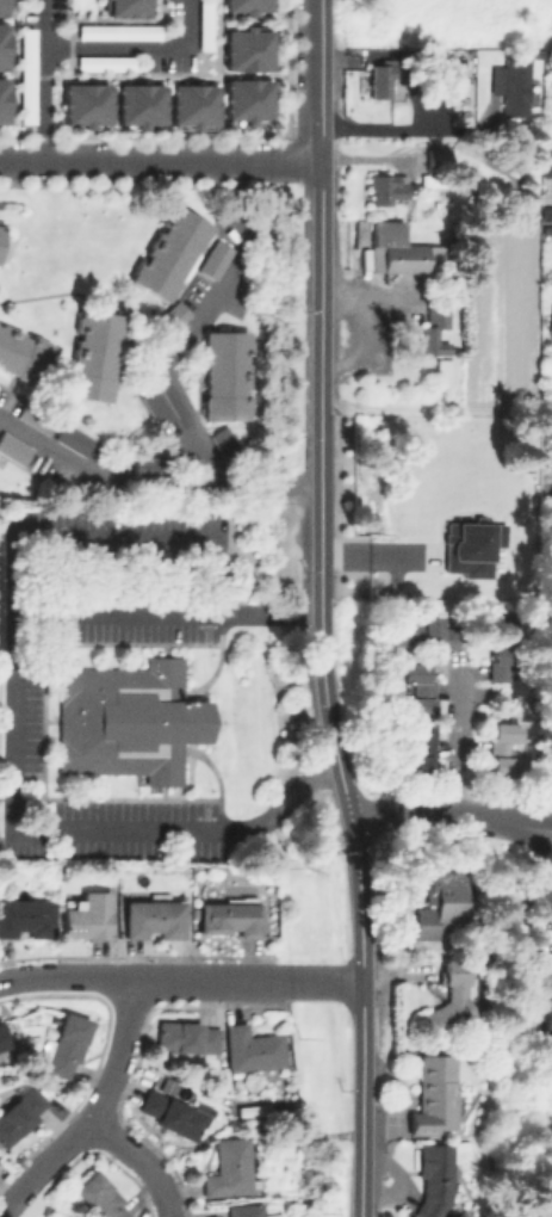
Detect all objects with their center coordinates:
building: (253, 5)
building: (6, 7)
building: (131, 7)
building: (210, 25)
building: (122, 32)
building: (5, 45)
building: (253, 48)
building: (447, 49)
road: (138, 50)
building: (420, 57)
building: (111, 63)
building: (30, 75)
building: (382, 80)
road: (45, 81)
road: (322, 81)
building: (513, 81)
building: (252, 99)
building: (5, 100)
building: (89, 104)
building: (143, 104)
building: (198, 104)
road: (411, 129)
building: (438, 157)
road: (119, 163)
road: (280, 163)
building: (551, 186)
building: (389, 189)
building: (395, 247)
building: (168, 253)
building: (213, 259)
road: (97, 296)
building: (174, 314)
building: (551, 320)
building: (438, 329)
building: (23, 352)
building: (92, 354)
road: (167, 362)
building: (445, 371)
building: (224, 375)
building: (157, 410)
building: (547, 420)
building: (411, 428)
building: (72, 438)
building: (13, 449)
road: (151, 484)
road: (546, 492)
road: (114, 538)
building: (482, 551)
building: (429, 631)
building: (500, 659)
road: (327, 691)
building: (420, 692)
building: (125, 718)
road: (14, 740)
road: (453, 742)
building: (420, 748)
building: (506, 752)
road: (440, 816)
road: (541, 823)
road: (541, 839)
building: (444, 903)
building: (91, 914)
building: (27, 915)
building: (156, 916)
building: (232, 916)
road: (139, 978)
road: (322, 980)
building: (452, 1003)
building: (548, 1006)
building: (4, 1036)
building: (186, 1036)
building: (69, 1042)
building: (255, 1048)
road: (105, 1095)
building: (436, 1095)
building: (21, 1112)
building: (176, 1112)
road: (139, 1161)
building: (231, 1166)
building: (436, 1178)
building: (104, 1196)
road: (13, 1201)
building: (252, 1210)

